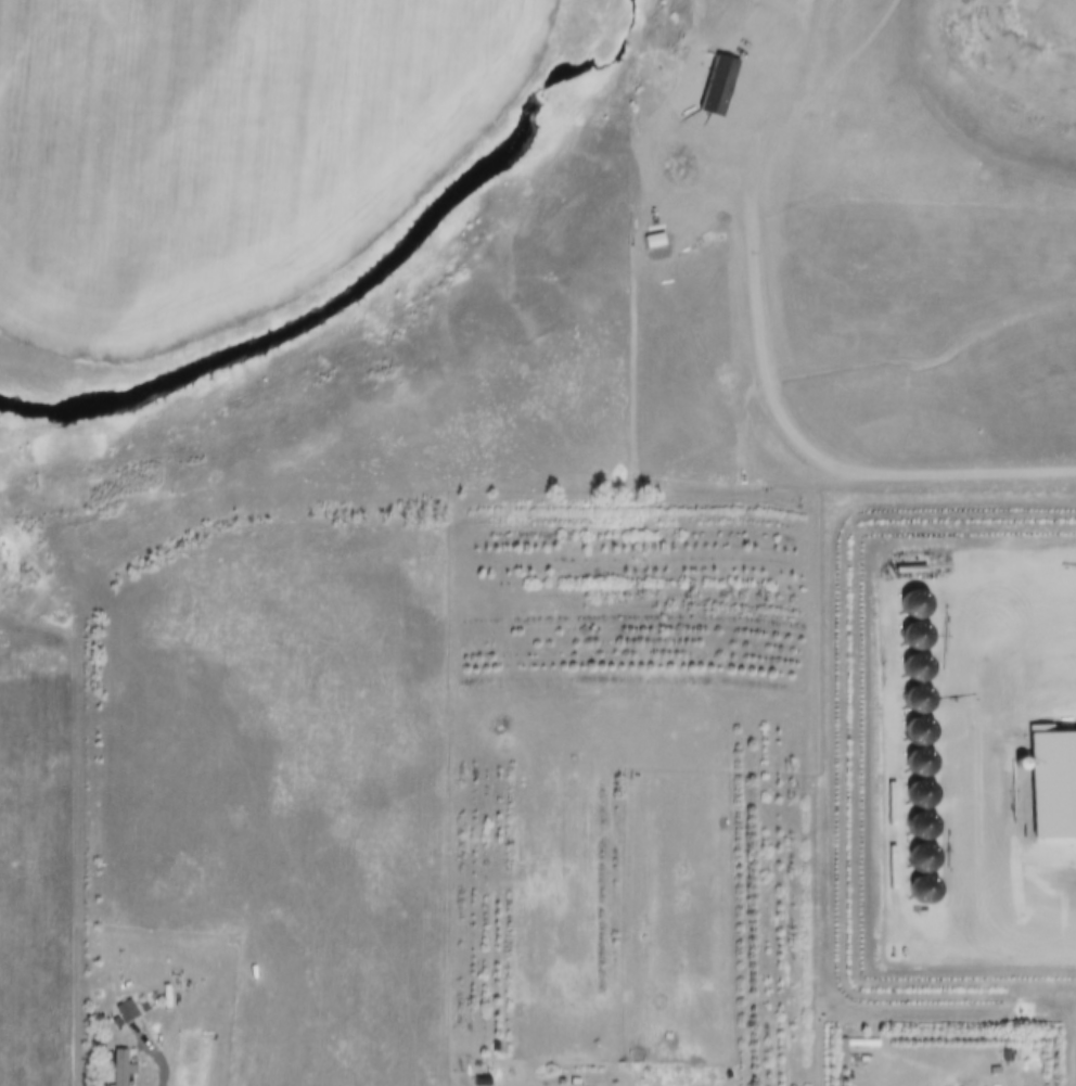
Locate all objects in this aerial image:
building: (130, 1001)
building: (836, 1040)
building: (125, 1060)
road: (167, 1064)

